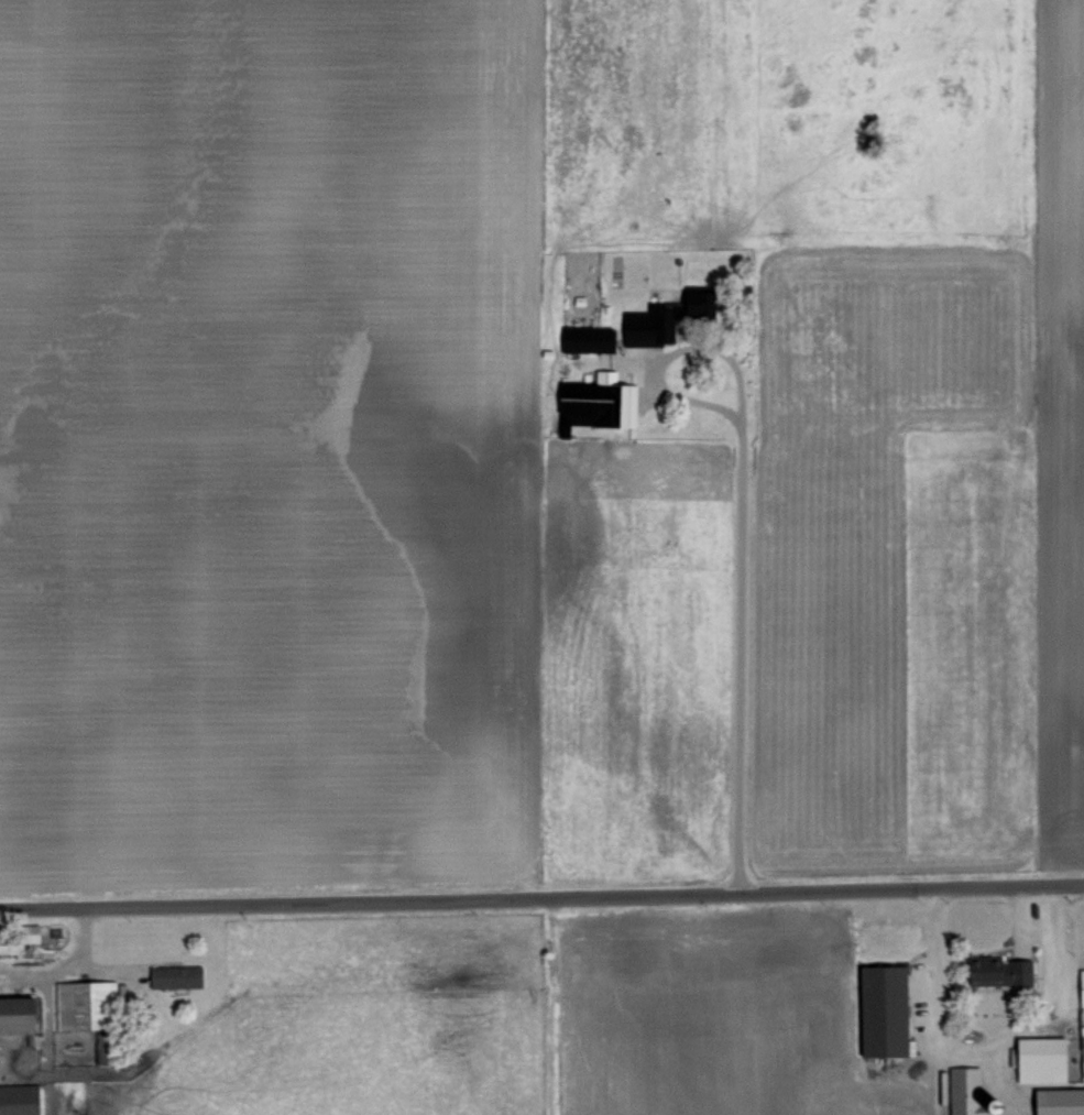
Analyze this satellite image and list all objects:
building: (692, 302)
building: (643, 324)
building: (583, 337)
building: (594, 400)
road: (737, 591)
road: (541, 896)
building: (29, 932)
road: (64, 964)
building: (995, 972)
building: (172, 975)
building: (1078, 985)
building: (81, 1001)
building: (878, 1009)
building: (15, 1014)
road: (990, 1042)
building: (1037, 1058)
building: (961, 1091)
building: (17, 1098)
building: (1056, 1101)

